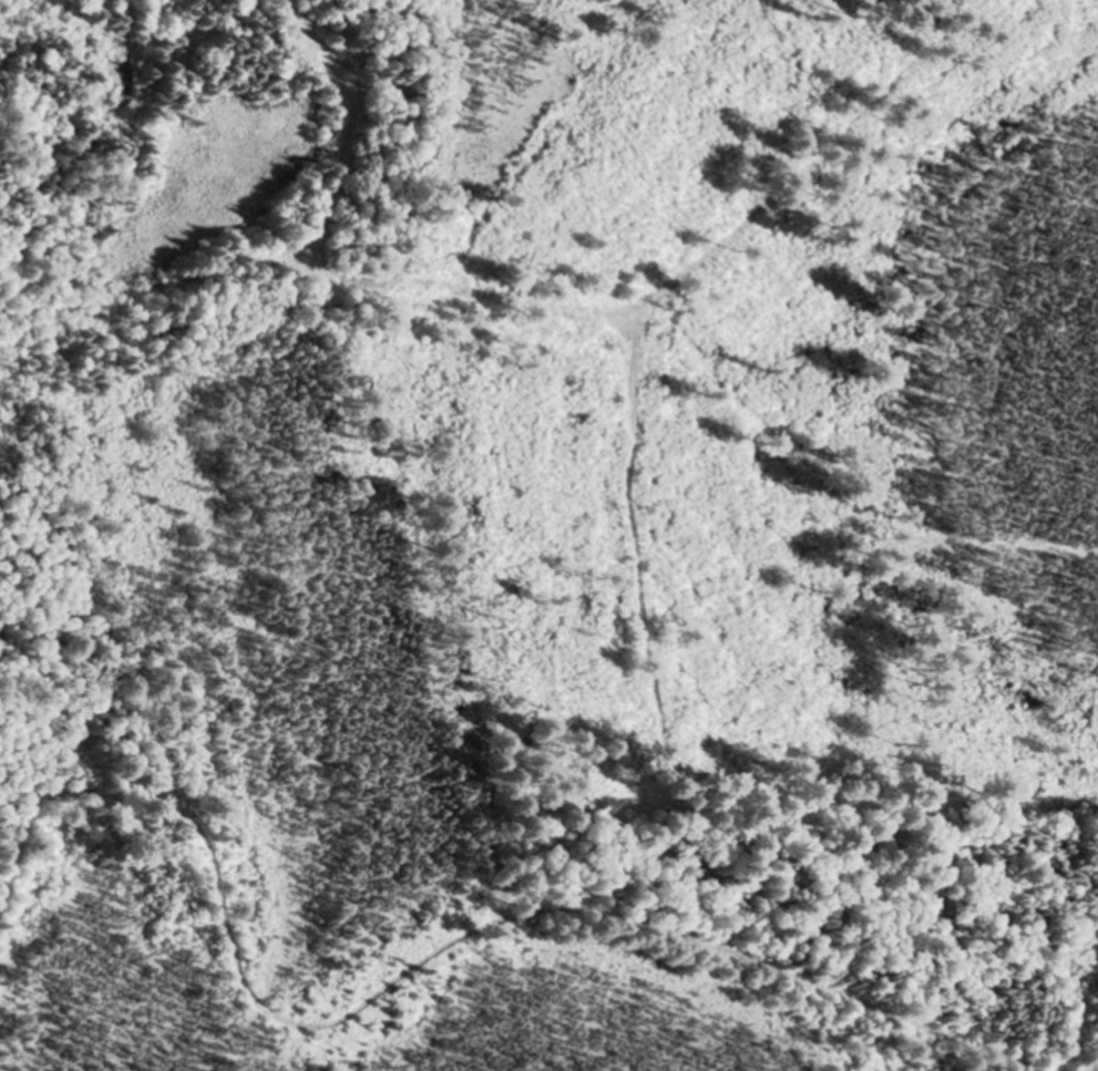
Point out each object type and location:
road: (455, 886)

